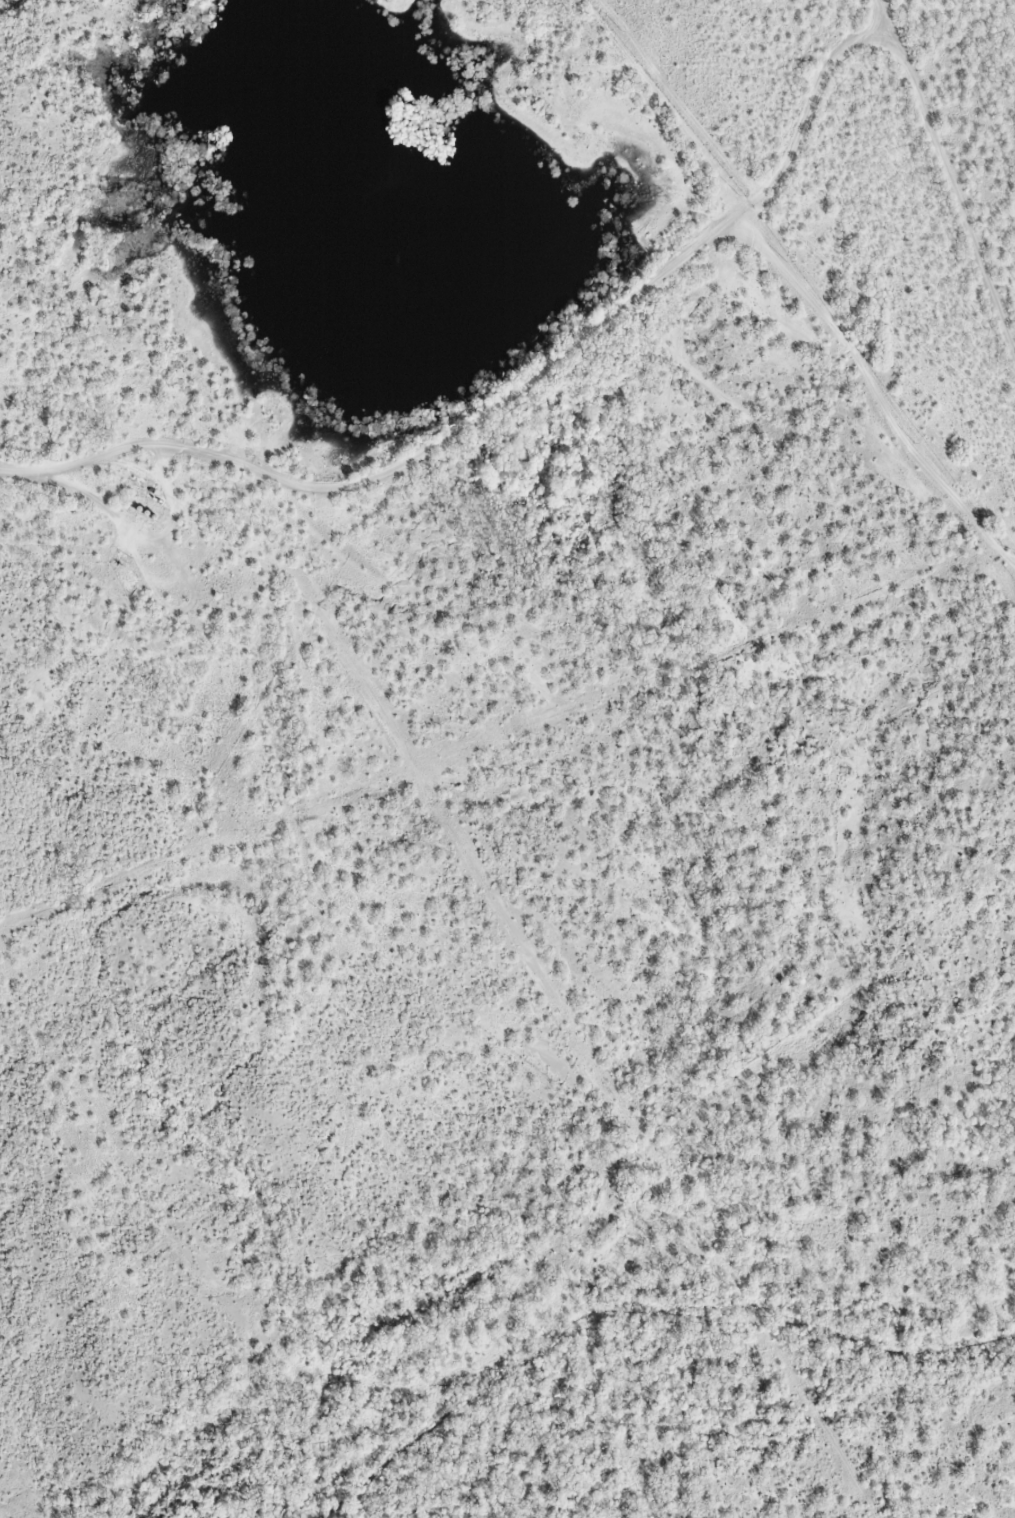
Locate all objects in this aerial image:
road: (690, 124)
road: (569, 361)

